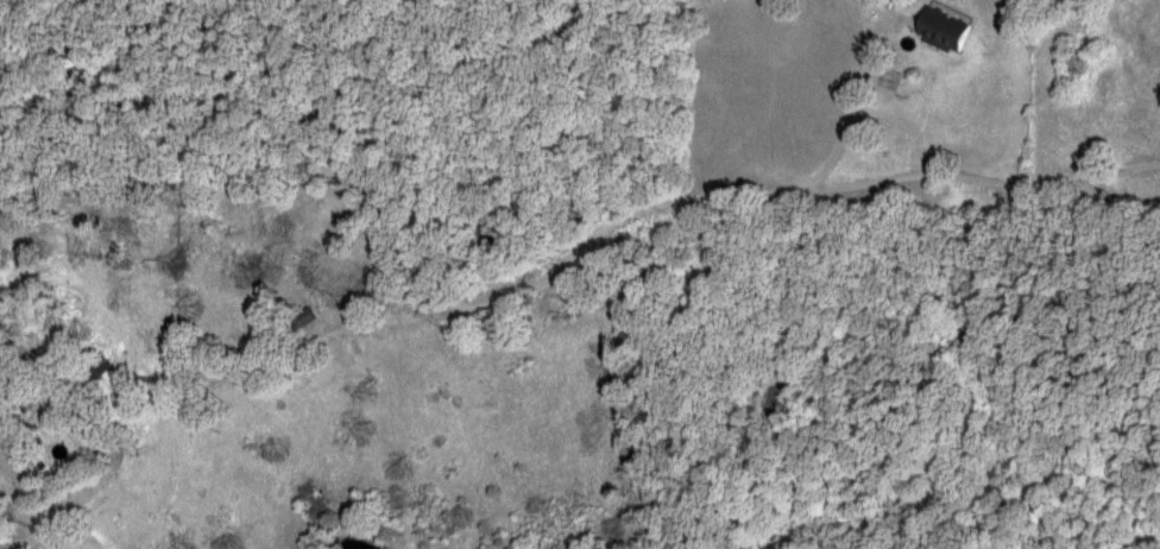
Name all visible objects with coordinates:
building: (951, 30)
road: (856, 101)
road: (556, 279)
building: (23, 463)
road: (71, 506)

